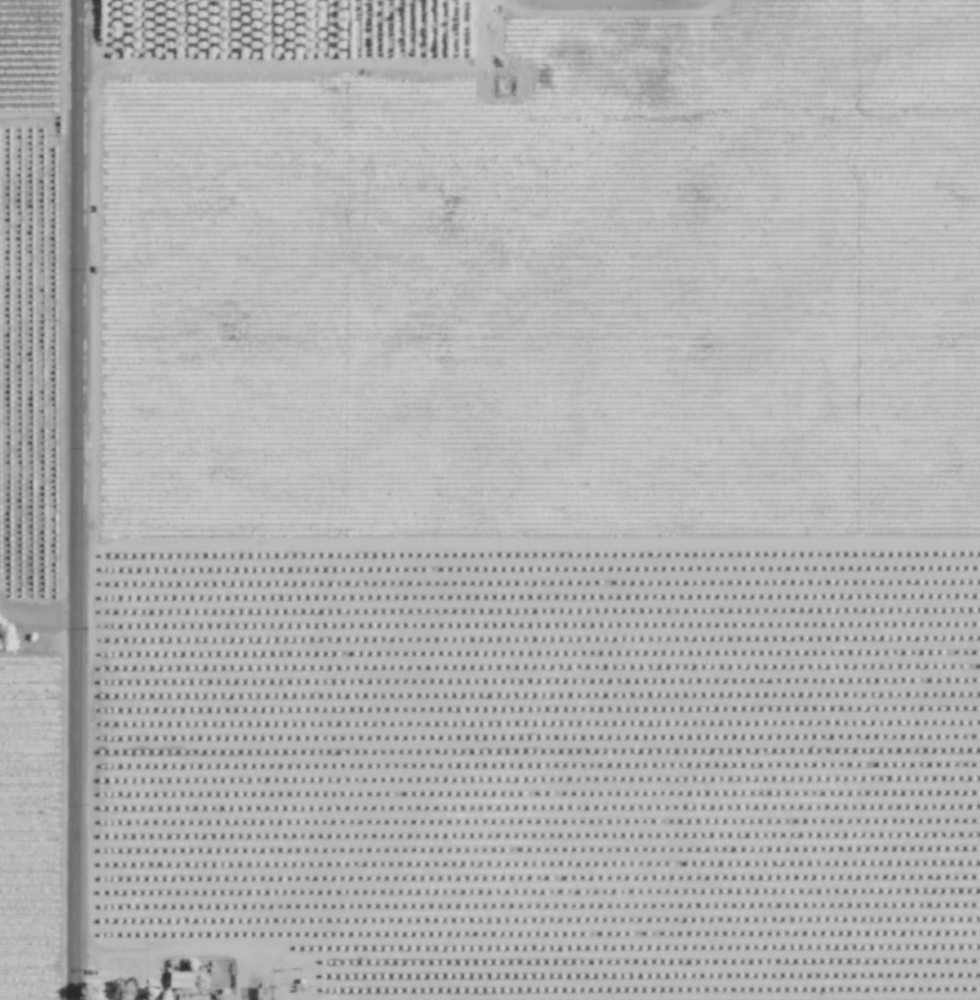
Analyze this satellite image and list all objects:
road: (80, 499)
road: (1, 602)
road: (40, 612)
building: (180, 980)
building: (262, 994)
building: (224, 995)

